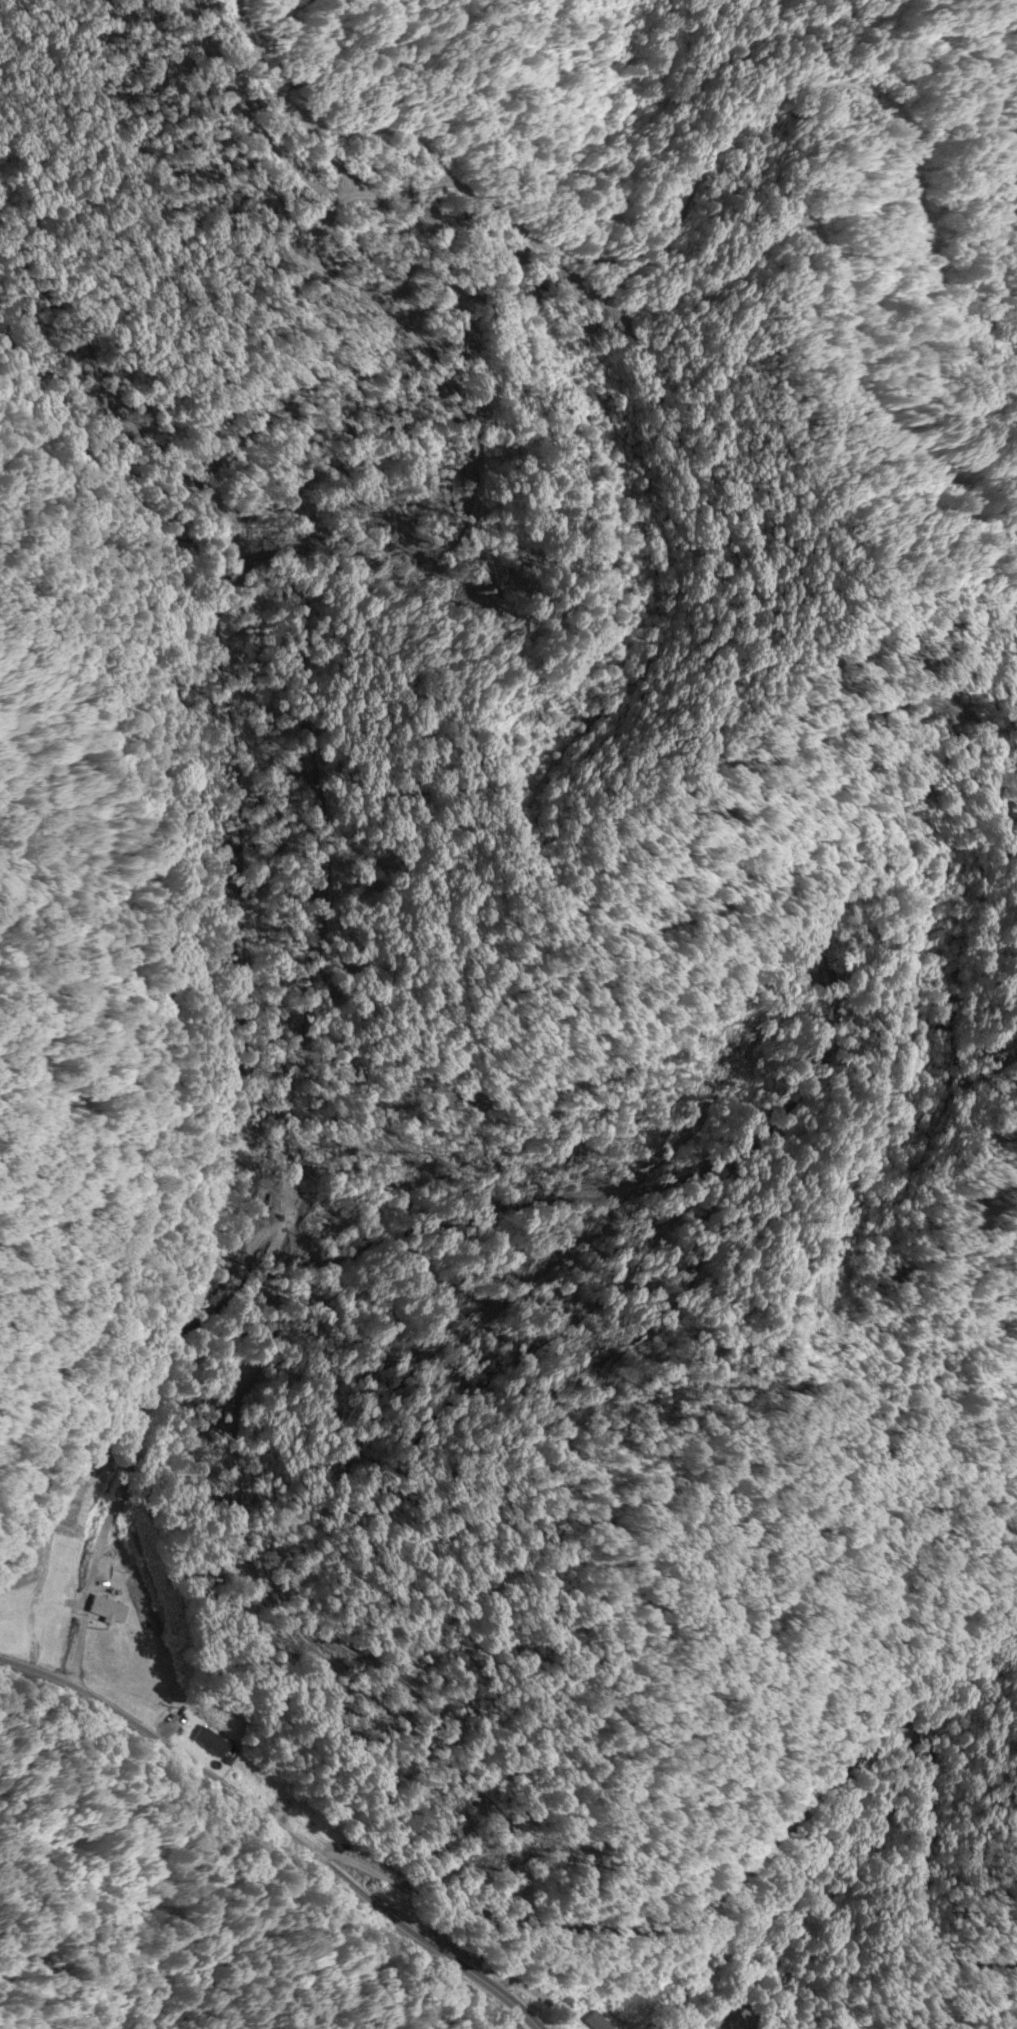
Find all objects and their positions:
building: (106, 1611)
building: (210, 1742)
building: (255, 1776)
road: (278, 1830)
building: (590, 2022)

